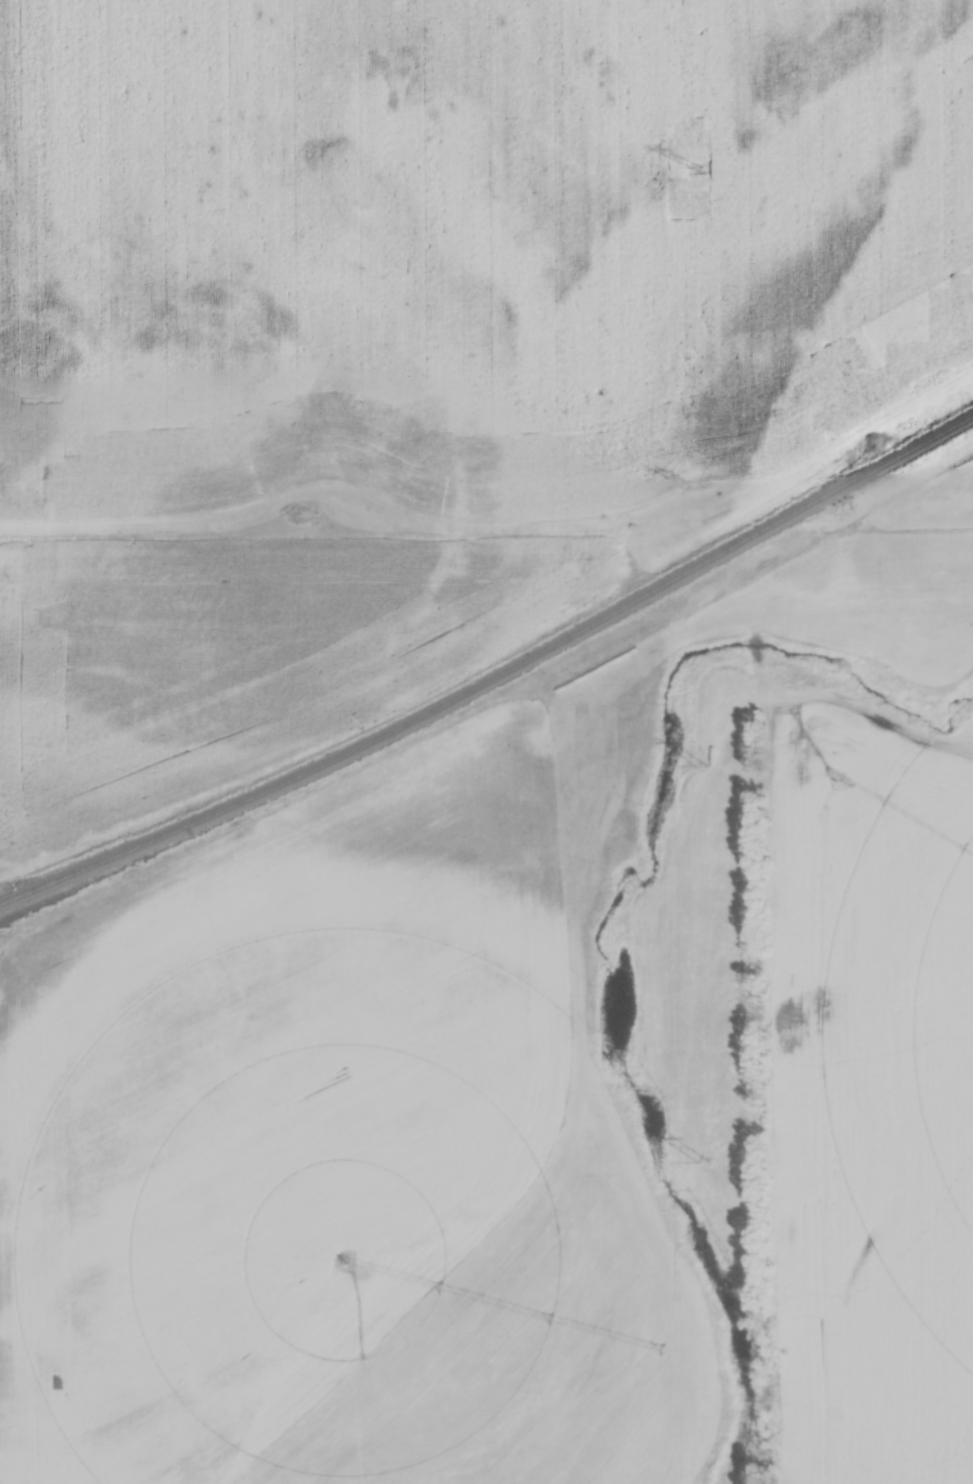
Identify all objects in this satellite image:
power tower: (698, 166)
power tower: (698, 489)
railway: (495, 681)
power tower: (700, 768)
power tower: (703, 1165)

